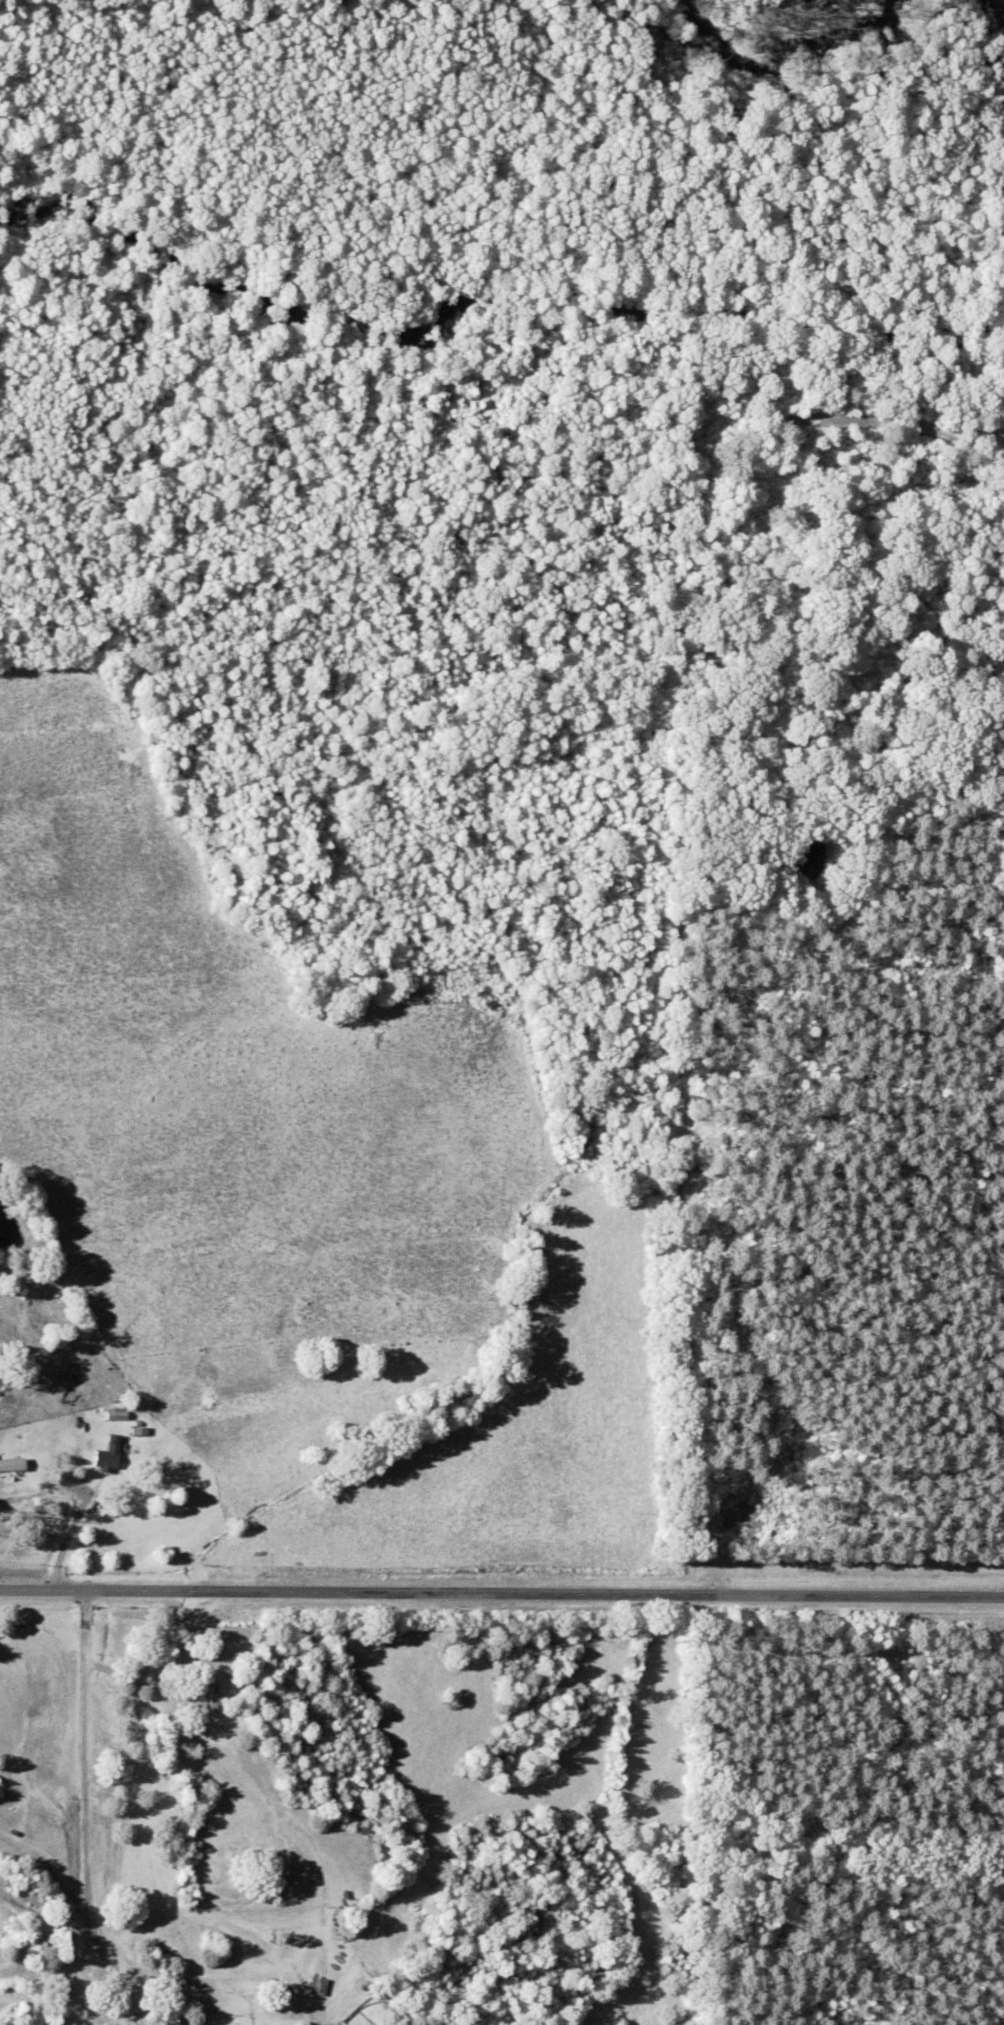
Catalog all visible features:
building: (112, 1453)
building: (10, 1465)
road: (502, 1554)
building: (217, 1698)
road: (111, 1789)
building: (323, 1984)

